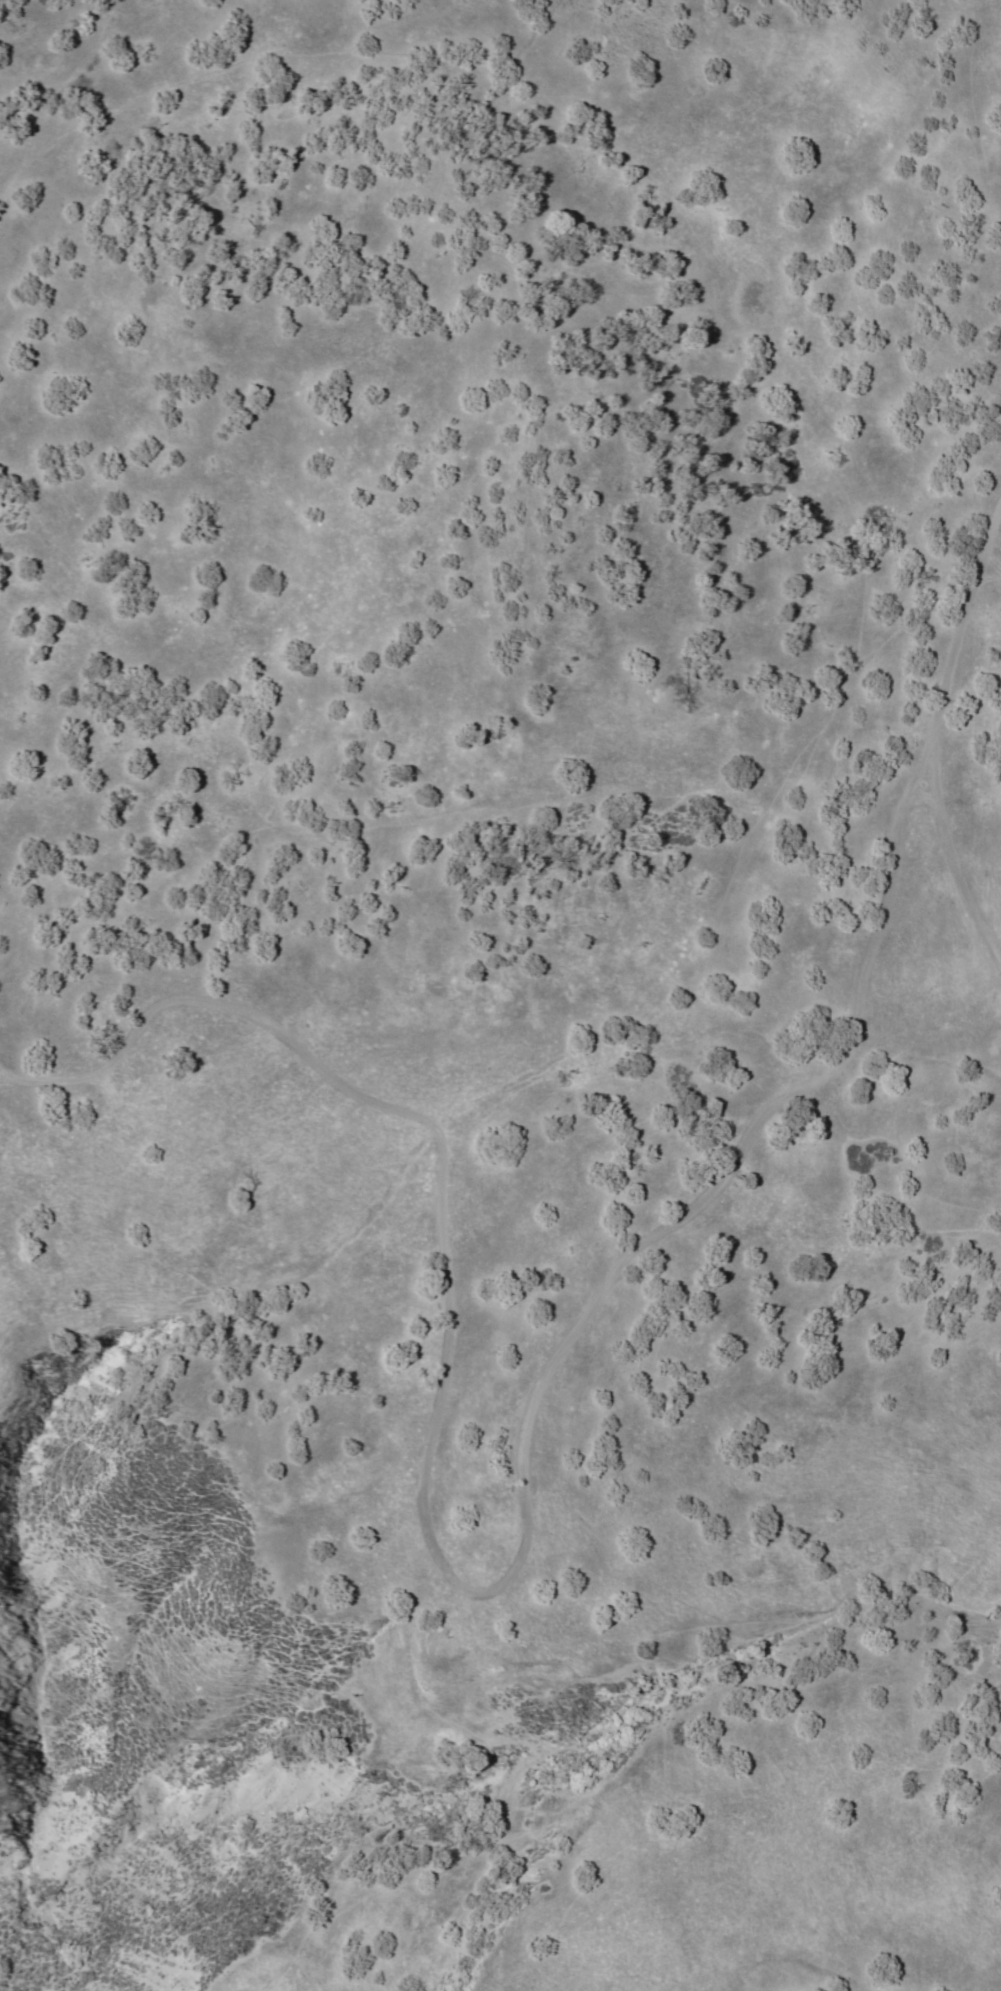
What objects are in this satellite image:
road: (937, 740)

